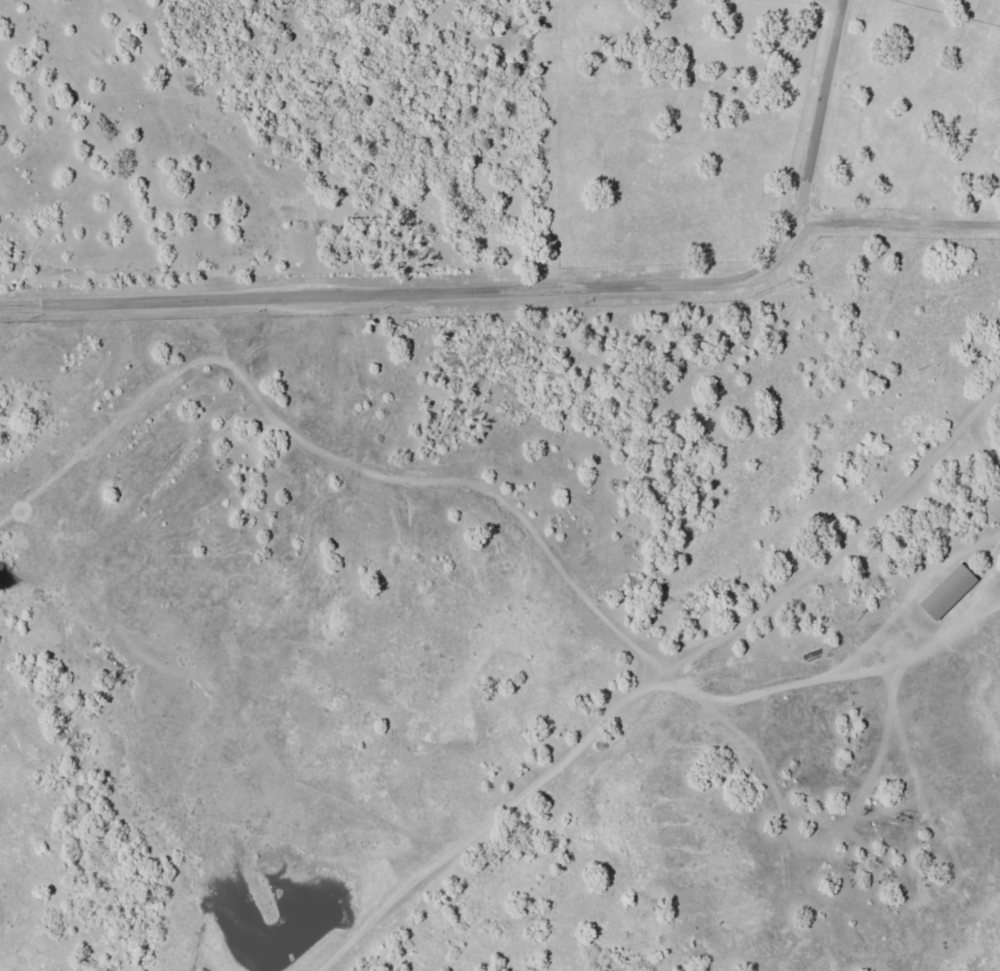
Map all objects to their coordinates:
road: (899, 219)
road: (527, 286)
building: (948, 592)

